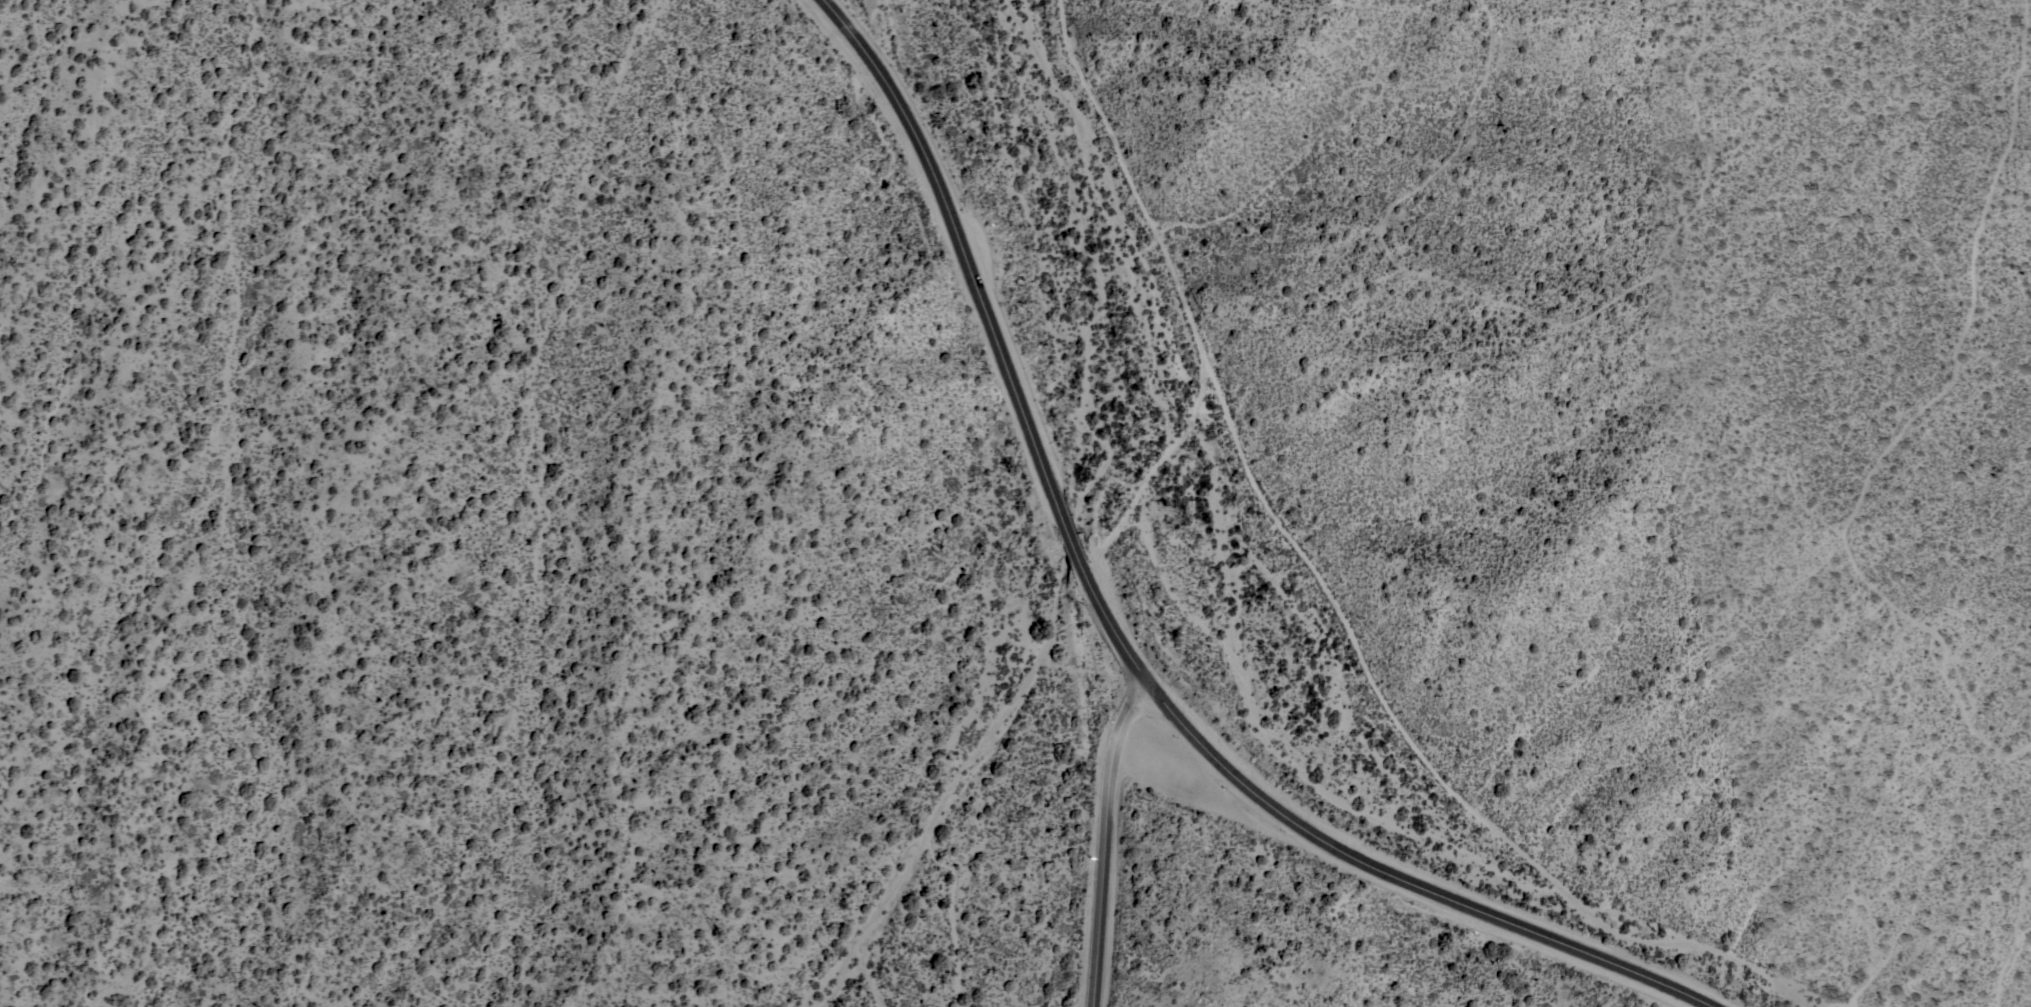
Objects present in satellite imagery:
road: (997, 332)
road: (1106, 839)
road: (1407, 879)

